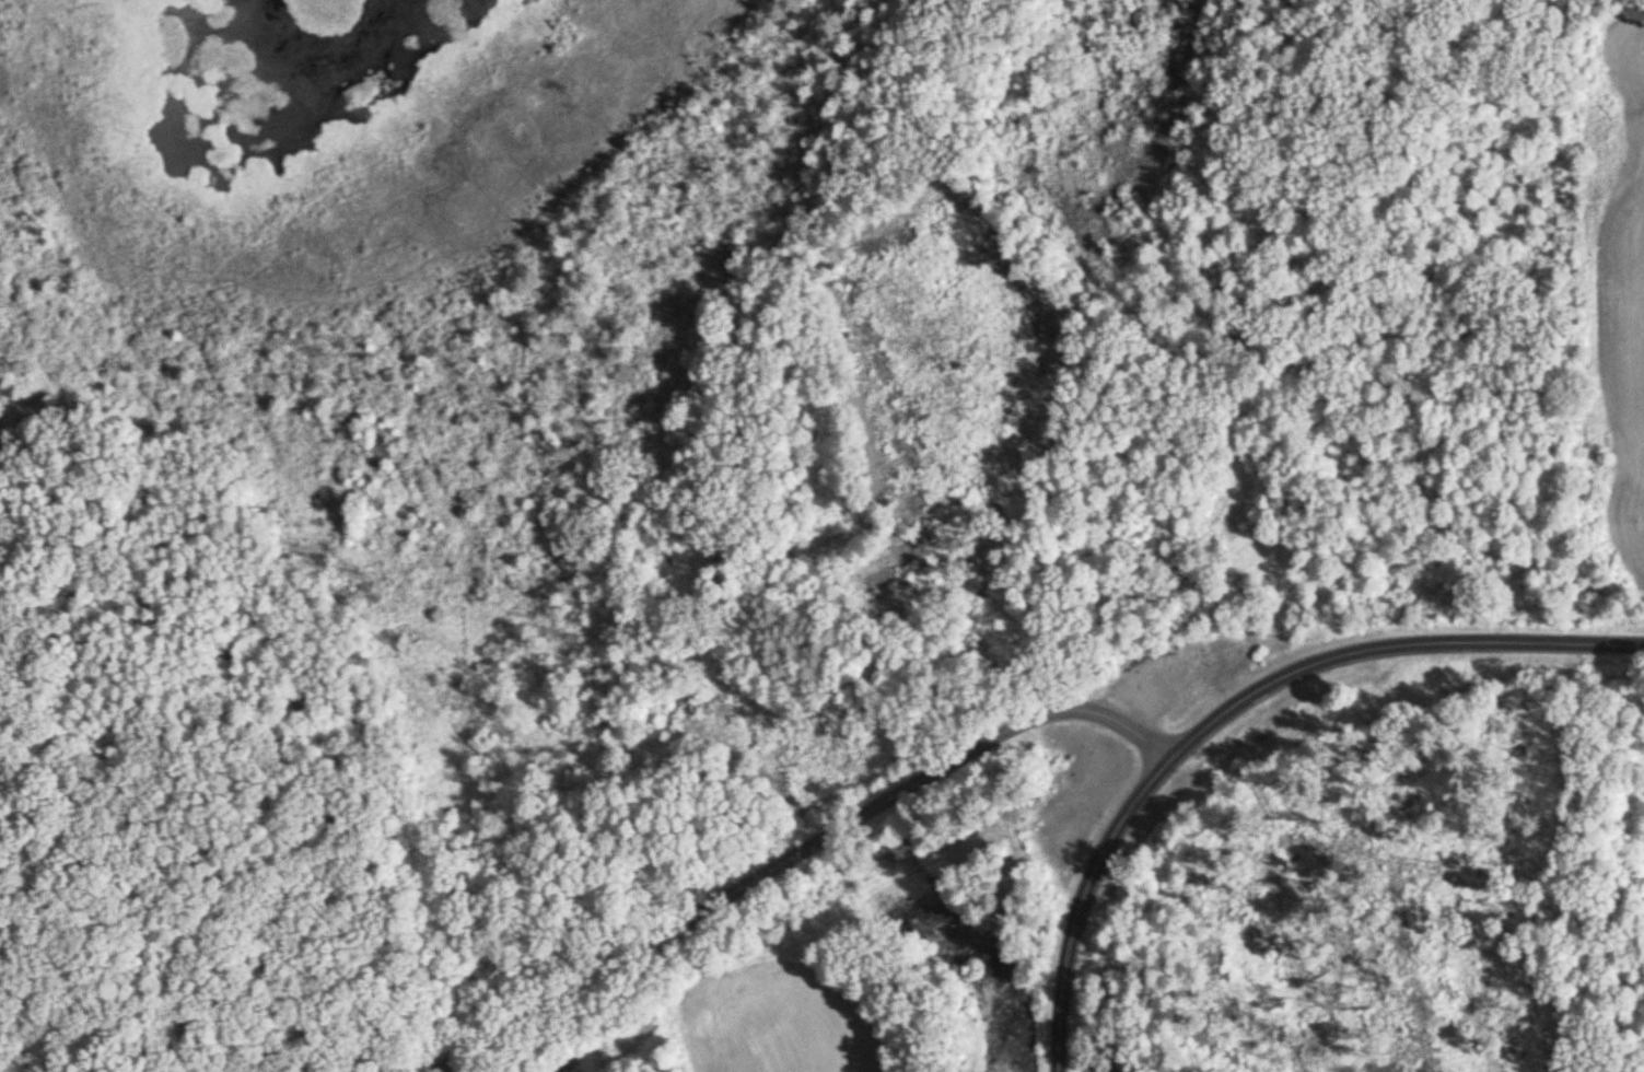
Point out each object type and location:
road: (1389, 650)
road: (1135, 685)
parking lot: (1143, 687)
road: (797, 855)
road: (1080, 904)

